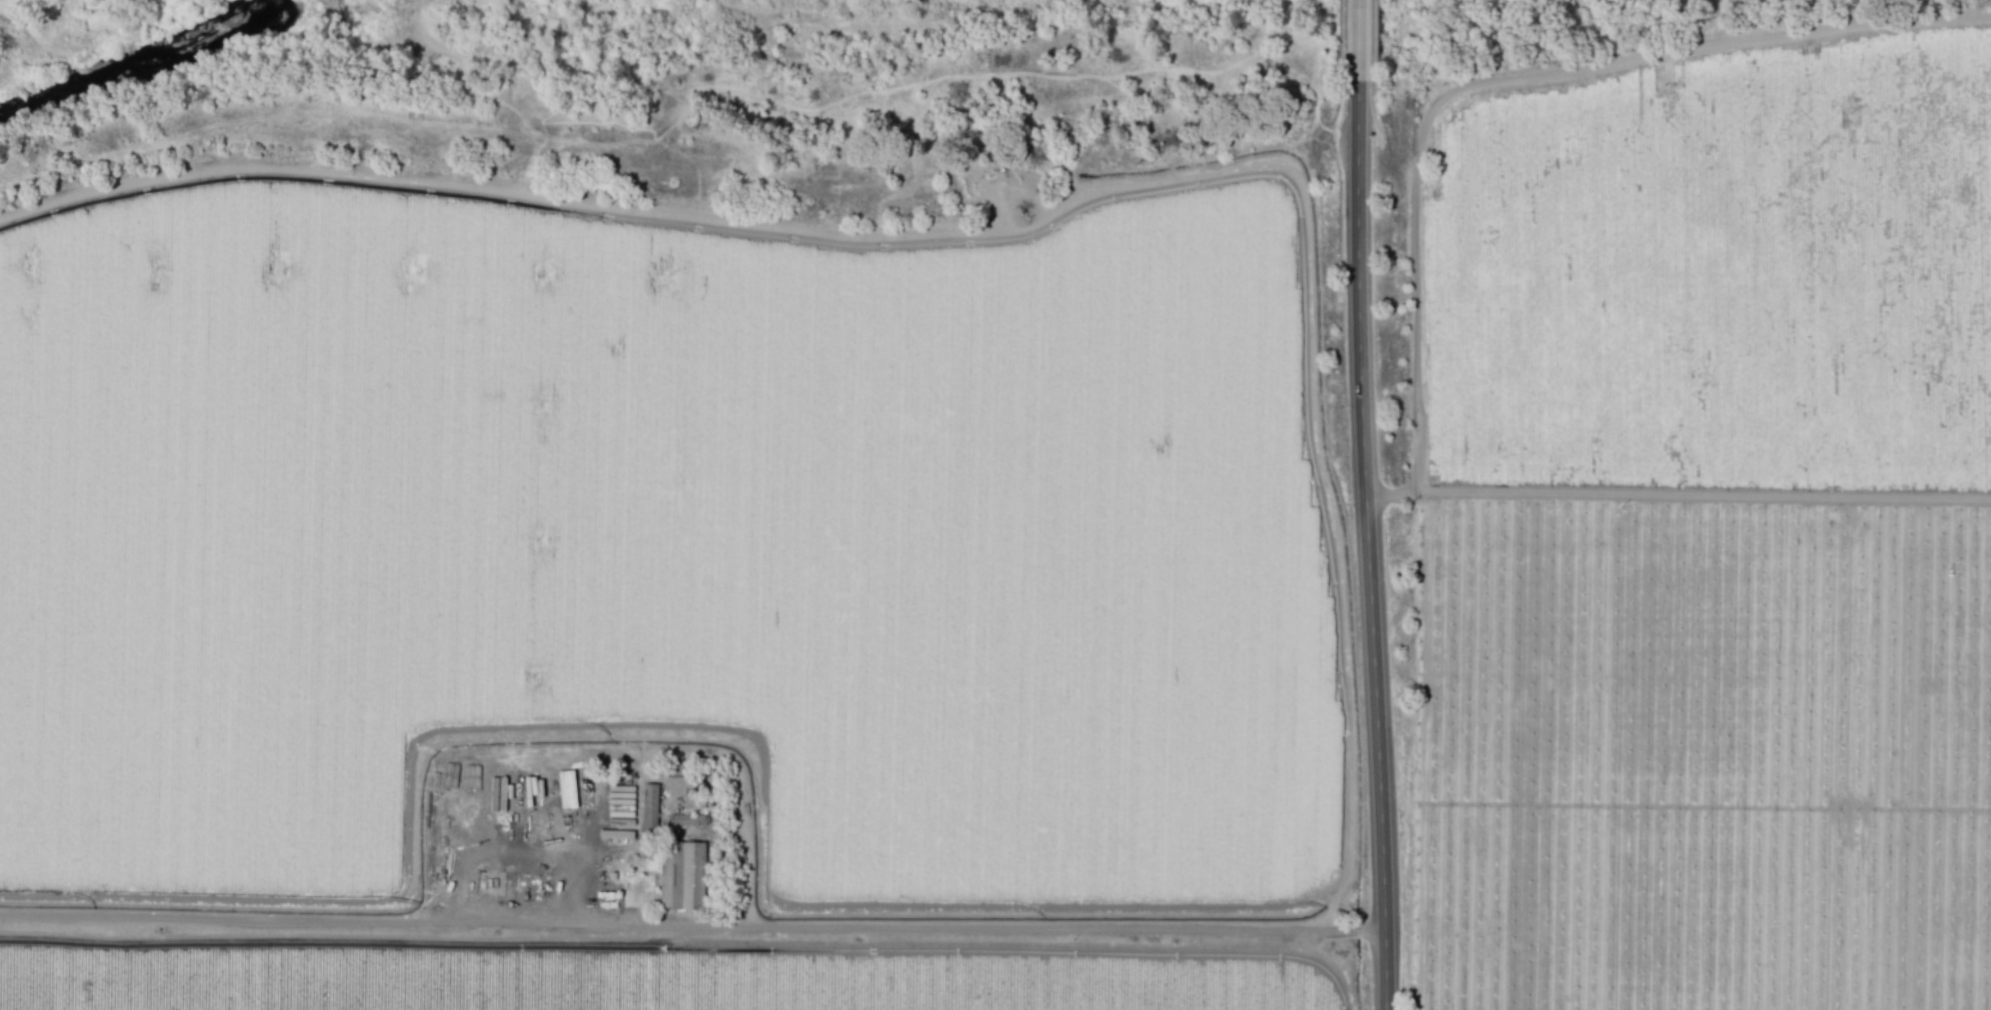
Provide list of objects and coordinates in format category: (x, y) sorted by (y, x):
road: (24, 25)
road: (1358, 40)
river: (120, 45)
road: (1515, 77)
road: (689, 219)
road: (1677, 495)
road: (1367, 545)
building: (566, 788)
building: (649, 804)
building: (686, 819)
road: (570, 874)
building: (682, 875)
road: (689, 922)

